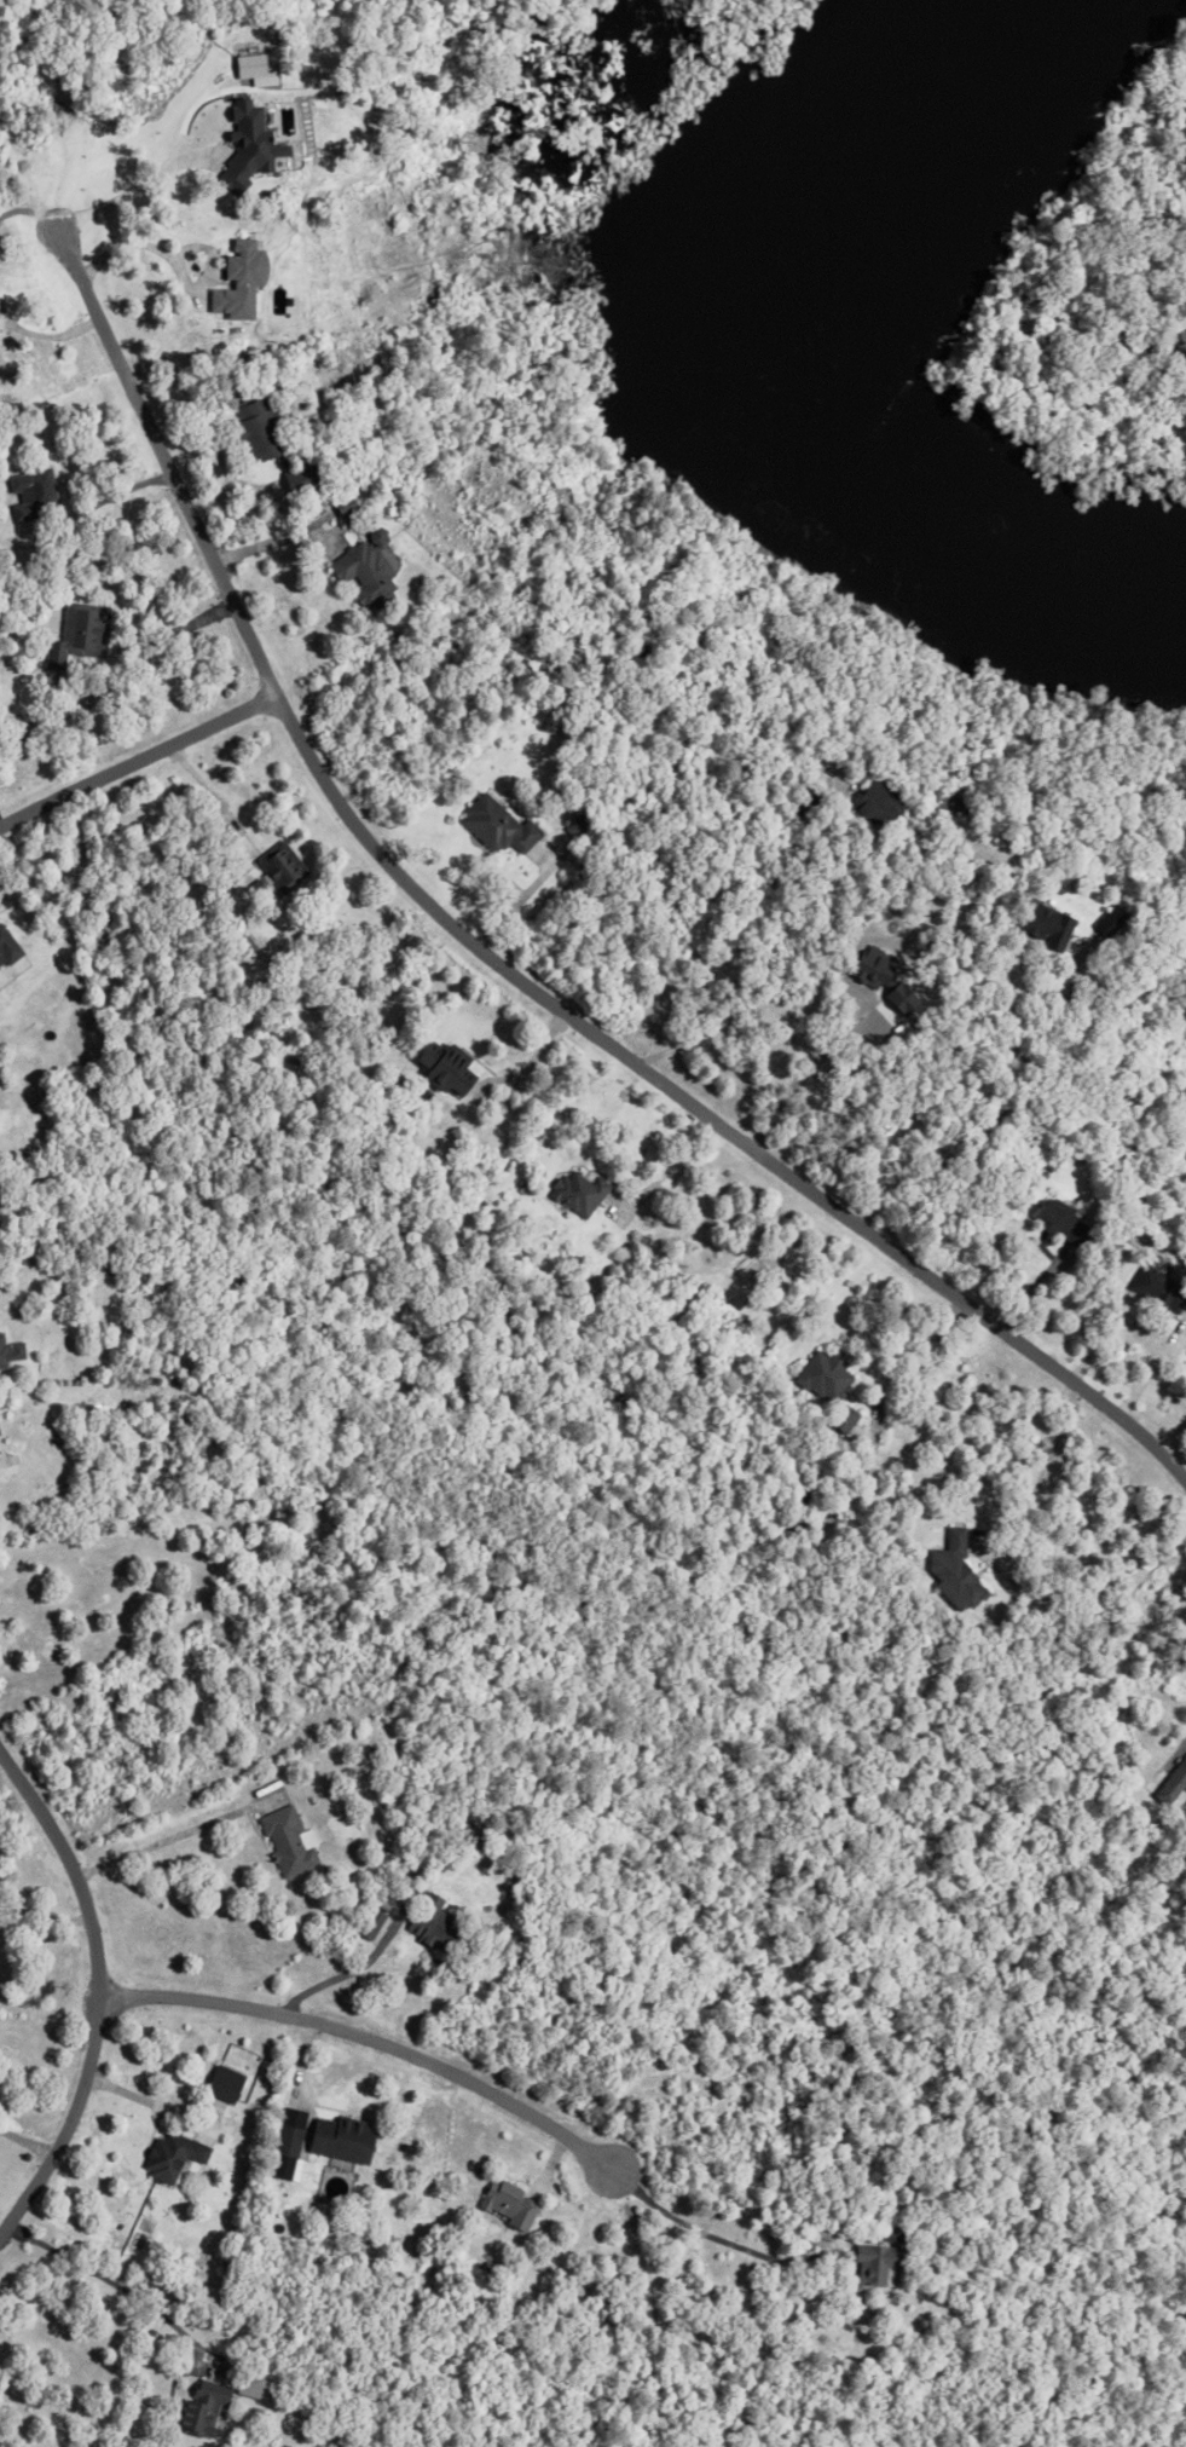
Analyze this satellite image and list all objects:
building: (247, 67)
building: (243, 145)
road: (126, 192)
road: (141, 236)
building: (235, 282)
road: (4, 318)
road: (4, 325)
road: (52, 336)
building: (251, 431)
road: (145, 443)
building: (421, 471)
building: (288, 483)
building: (30, 492)
road: (96, 504)
building: (374, 535)
road: (260, 544)
building: (364, 575)
building: (77, 634)
building: (57, 685)
road: (135, 761)
road: (209, 791)
building: (800, 801)
building: (877, 803)
building: (494, 826)
building: (577, 827)
building: (280, 866)
road: (515, 895)
building: (1045, 925)
building: (247, 943)
building: (7, 947)
building: (979, 979)
building: (990, 1003)
building: (440, 1069)
road: (1003, 1109)
road: (701, 1112)
road: (658, 1160)
building: (525, 1184)
building: (575, 1193)
building: (1051, 1208)
building: (1054, 1224)
building: (1077, 1230)
building: (1156, 1286)
road: (1139, 1328)
road: (916, 1352)
building: (11, 1354)
building: (822, 1370)
building: (841, 1413)
road: (1, 1454)
road: (1040, 1465)
building: (792, 1470)
building: (799, 1489)
building: (951, 1565)
road: (1180, 1742)
building: (1171, 1777)
building: (301, 1806)
road: (172, 1835)
building: (287, 1837)
road: (42, 1916)
building: (368, 1920)
building: (429, 1920)
road: (325, 1980)
road: (102, 1996)
road: (368, 2059)
building: (220, 2084)
road: (177, 2118)
building: (339, 2135)
building: (285, 2136)
road: (28, 2141)
building: (168, 2157)
building: (507, 2200)
building: (864, 2218)
building: (892, 2230)
building: (797, 2239)
road: (725, 2240)
building: (872, 2260)
road: (117, 2284)
building: (250, 2383)
building: (199, 2405)

